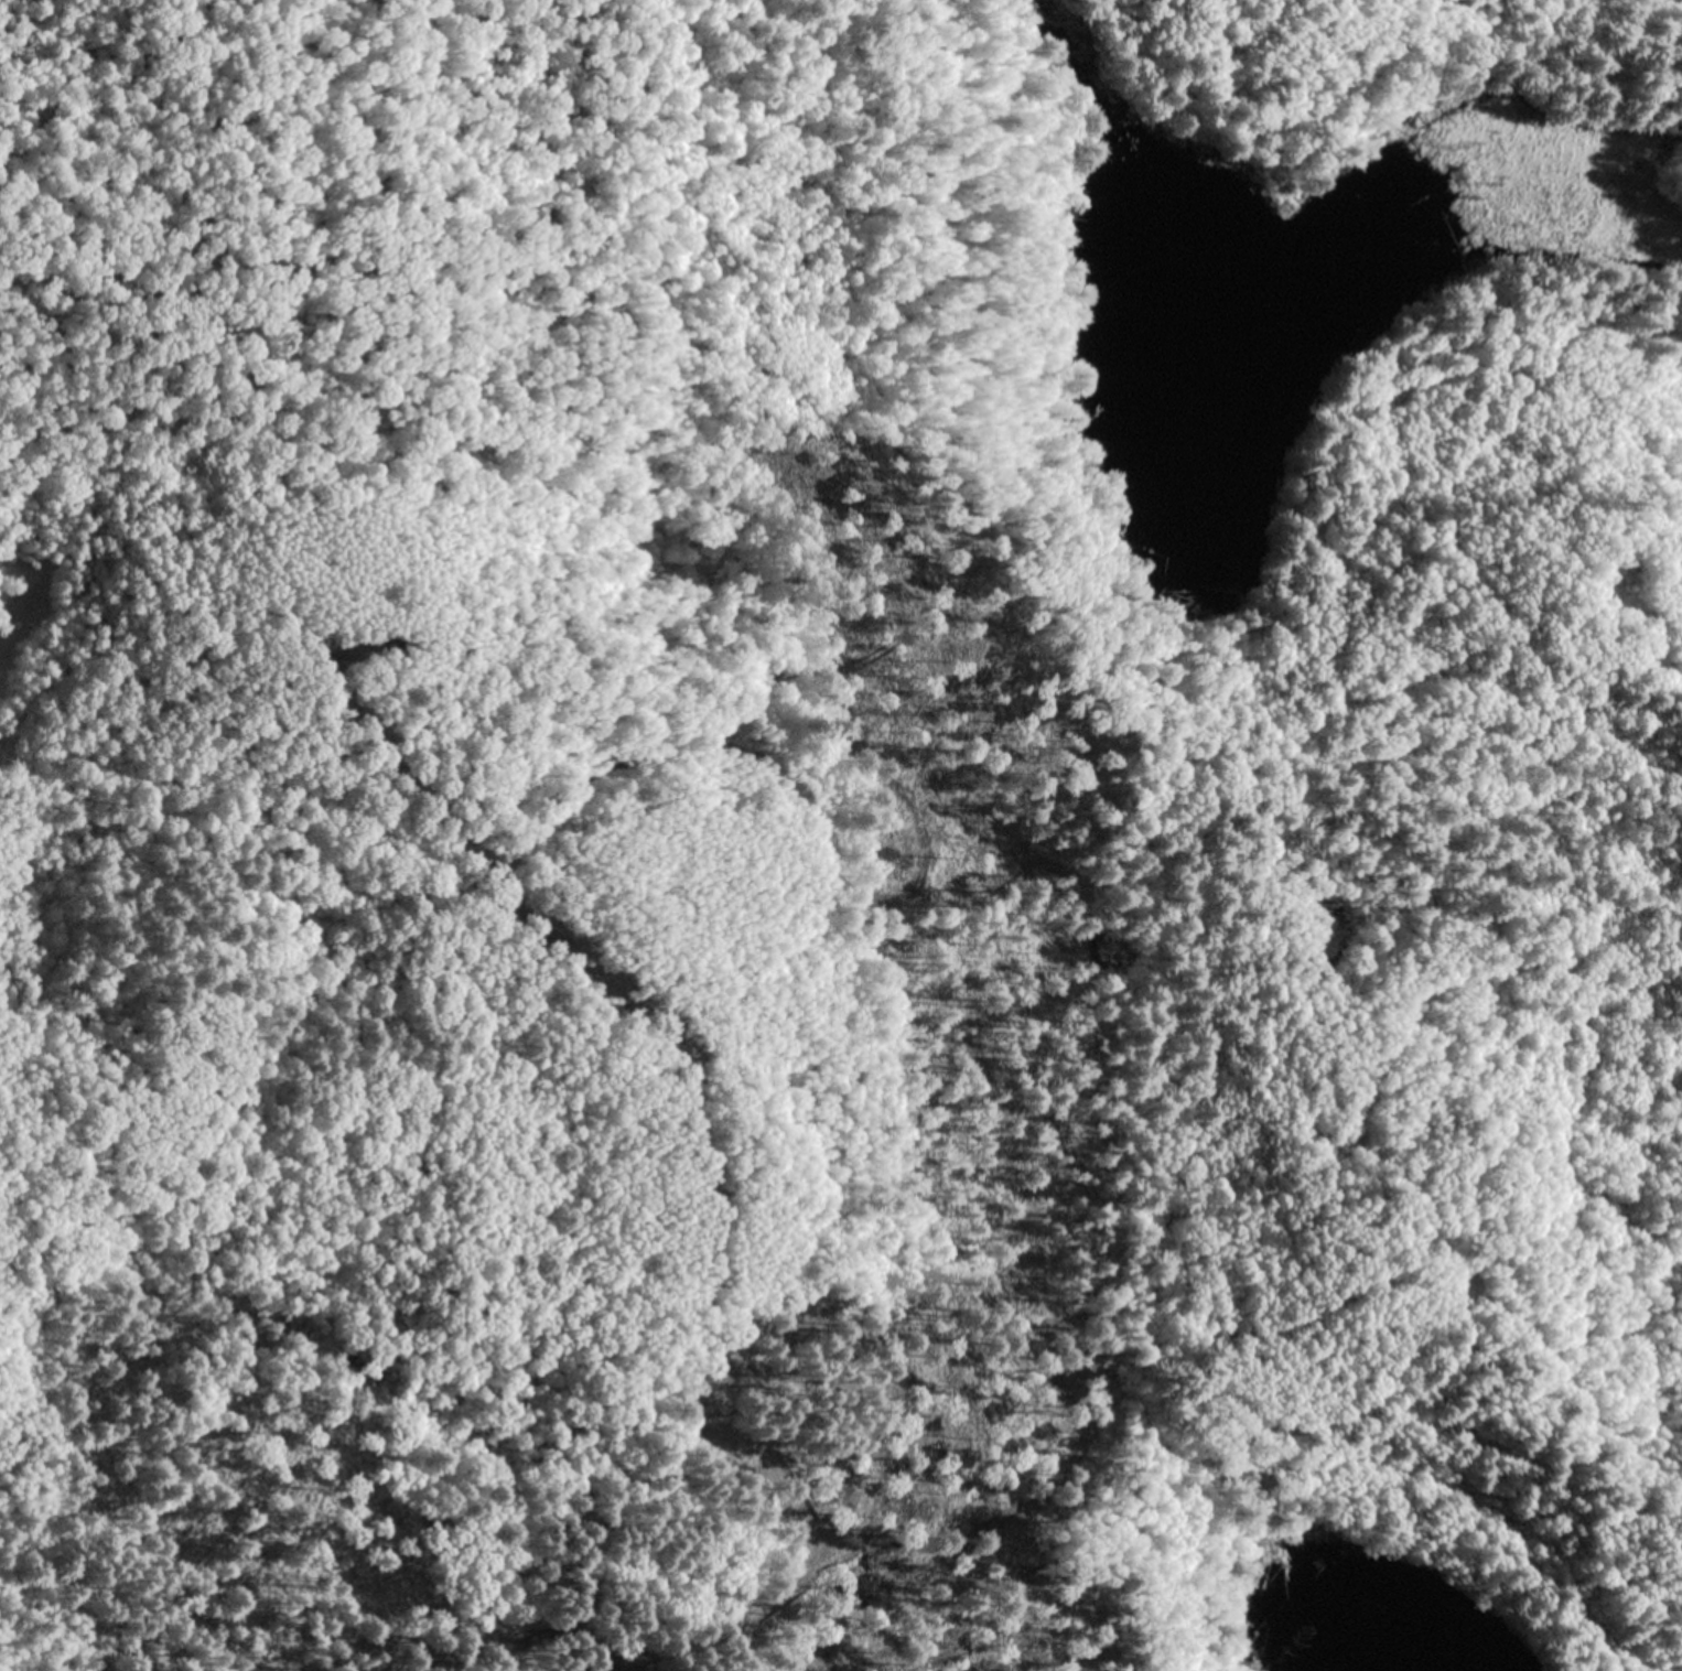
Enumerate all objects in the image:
quarry: (1422, 1037)

